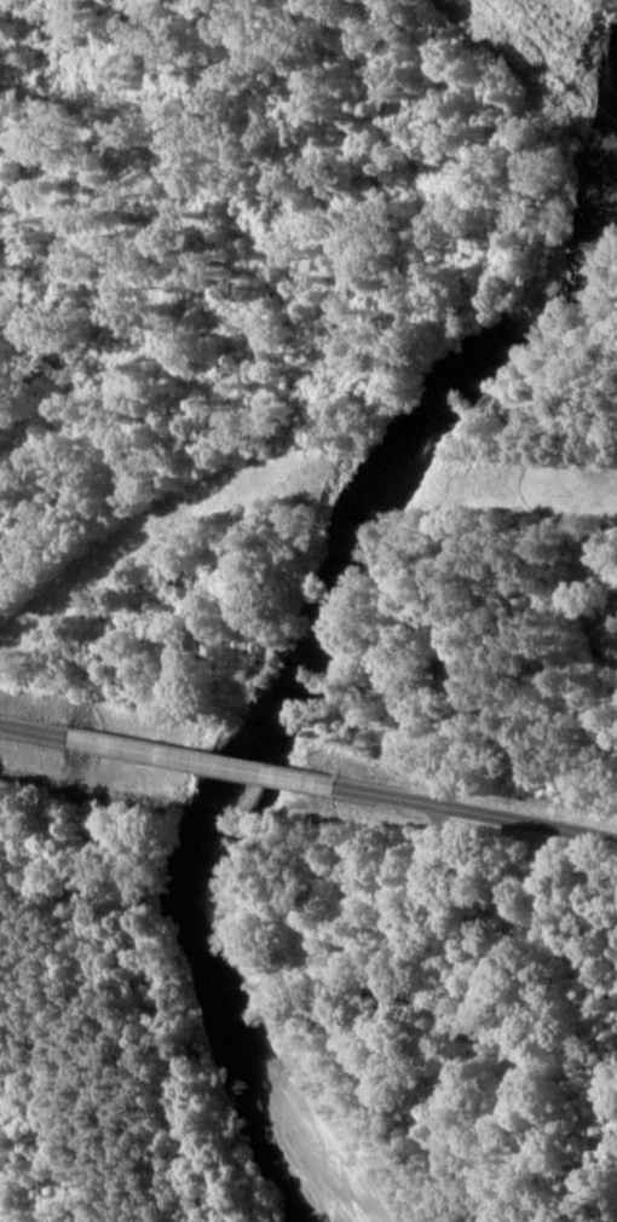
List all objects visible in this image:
building: (610, 630)
road: (384, 698)
road: (307, 835)

